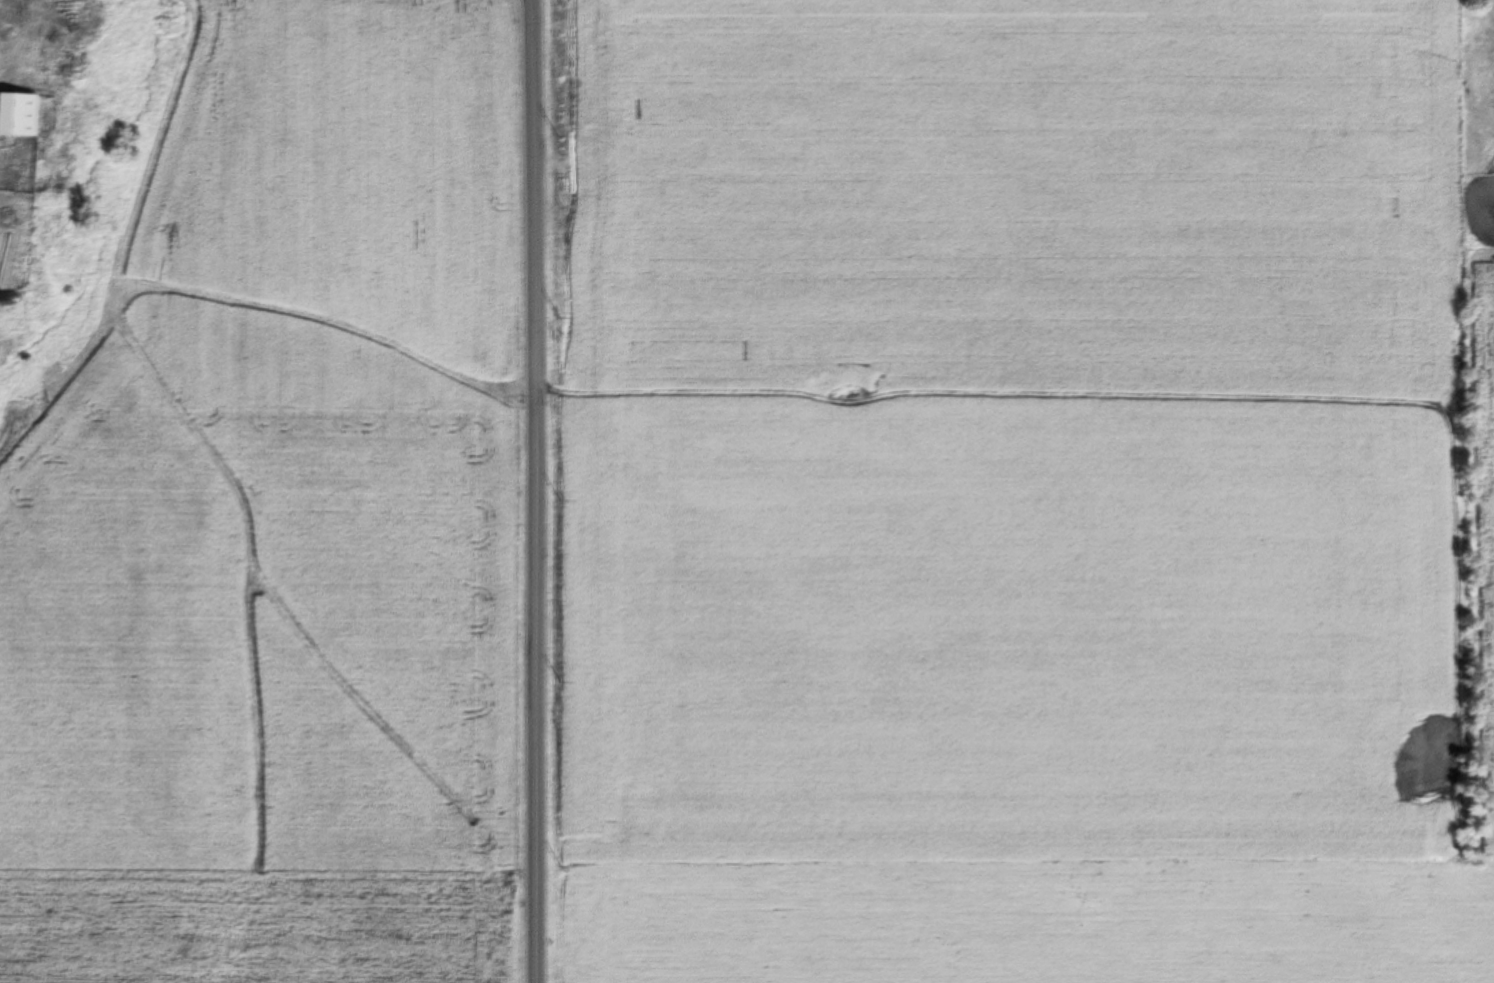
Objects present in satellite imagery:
building: (18, 113)
road: (531, 491)

